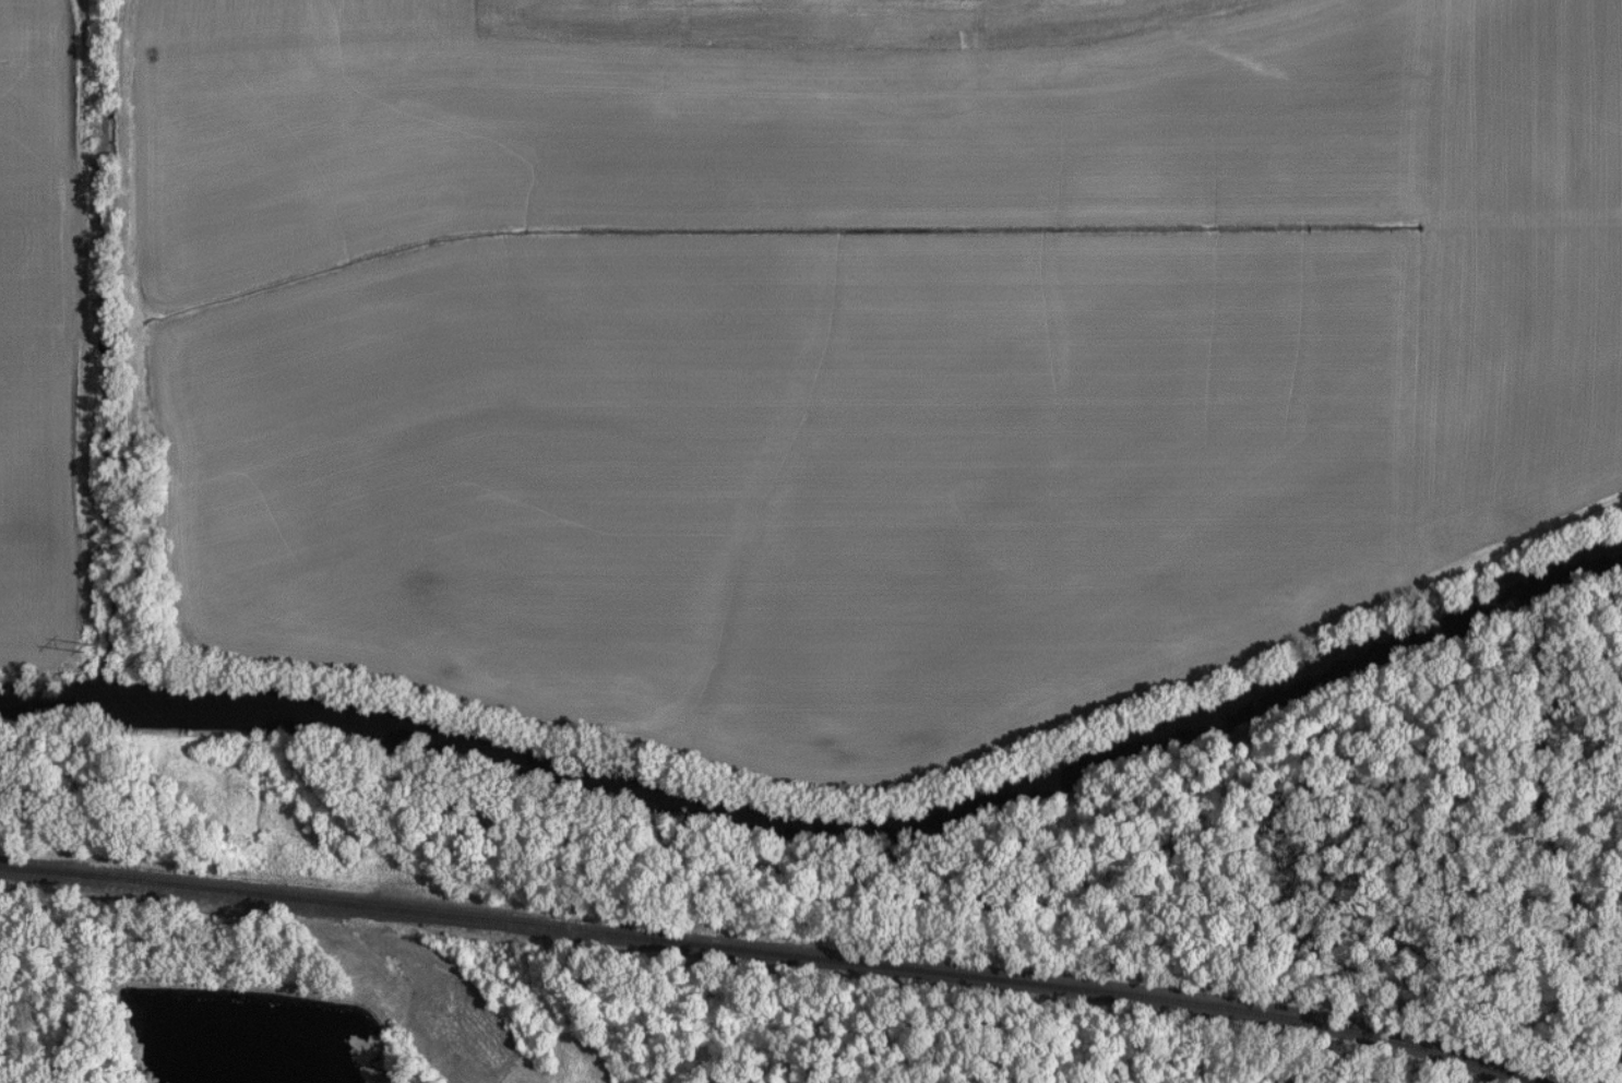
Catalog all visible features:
river: (830, 832)
railway: (775, 950)

